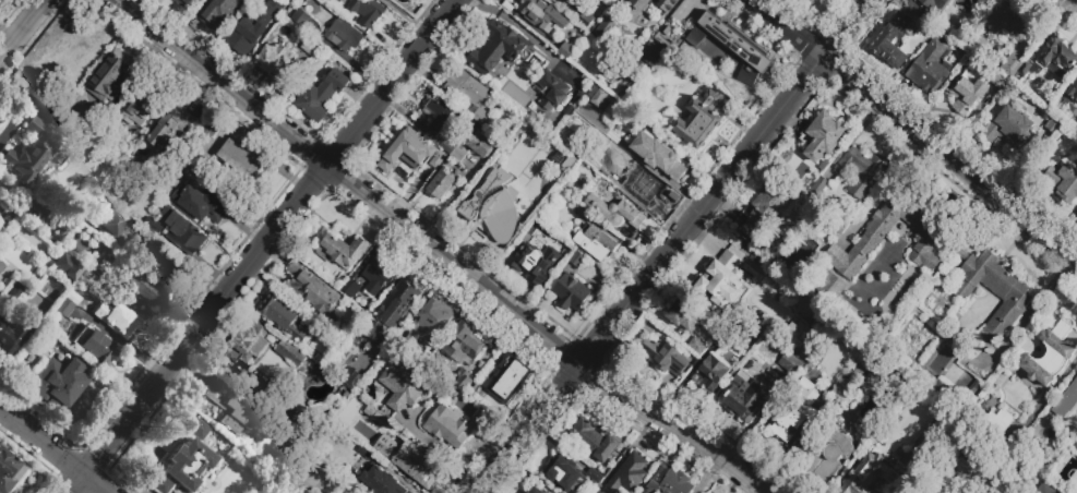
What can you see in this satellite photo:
building: (559, 0)
building: (816, 0)
building: (956, 0)
building: (302, 1)
building: (190, 2)
road: (1073, 2)
building: (977, 3)
building: (667, 4)
building: (934, 5)
building: (635, 7)
building: (366, 11)
building: (218, 13)
building: (542, 15)
building: (300, 16)
building: (585, 20)
building: (1009, 20)
building: (252, 28)
road: (785, 28)
road: (23, 29)
building: (605, 29)
building: (340, 33)
building: (898, 39)
building: (308, 46)
building: (496, 48)
building: (730, 48)
building: (567, 53)
building: (653, 57)
building: (276, 60)
building: (1051, 60)
building: (1010, 65)
building: (930, 67)
building: (682, 73)
building: (111, 75)
building: (1000, 84)
building: (554, 87)
building: (1073, 92)
building: (320, 94)
building: (470, 94)
building: (967, 94)
building: (145, 103)
building: (113, 108)
building: (438, 113)
building: (698, 121)
building: (60, 122)
building: (1008, 128)
building: (1055, 128)
building: (168, 129)
building: (822, 136)
building: (477, 142)
building: (454, 149)
building: (31, 151)
building: (410, 154)
building: (658, 155)
building: (238, 157)
road: (949, 158)
building: (155, 167)
building: (859, 171)
building: (629, 179)
building: (441, 184)
building: (1067, 184)
building: (818, 191)
building: (120, 192)
building: (589, 197)
road: (446, 201)
building: (202, 204)
building: (494, 205)
building: (766, 208)
building: (585, 215)
building: (618, 218)
building: (118, 224)
building: (840, 229)
building: (183, 231)
road: (1069, 239)
building: (596, 242)
road: (673, 245)
road: (262, 246)
building: (343, 252)
road: (439, 253)
building: (569, 253)
building: (937, 261)
building: (531, 262)
building: (578, 263)
building: (0, 265)
building: (104, 265)
building: (65, 266)
building: (158, 272)
building: (378, 275)
building: (350, 287)
building: (719, 287)
building: (88, 289)
building: (310, 290)
building: (765, 290)
building: (833, 290)
building: (145, 291)
building: (570, 292)
building: (17, 298)
building: (65, 302)
building: (393, 308)
building: (684, 315)
building: (284, 316)
building: (121, 317)
building: (354, 318)
building: (431, 320)
building: (318, 326)
building: (798, 332)
building: (11, 337)
building: (250, 340)
building: (723, 344)
building: (462, 345)
building: (93, 346)
building: (287, 352)
building: (1050, 354)
building: (332, 357)
building: (665, 359)
building: (789, 363)
building: (714, 372)
building: (501, 377)
building: (857, 380)
building: (57, 381)
building: (404, 384)
building: (874, 384)
building: (213, 388)
building: (749, 395)
building: (948, 395)
building: (1066, 400)
building: (890, 401)
building: (795, 412)
building: (237, 413)
building: (366, 420)
building: (997, 422)
building: (455, 425)
building: (199, 431)
building: (1076, 434)
building: (593, 440)
road: (40, 441)
building: (884, 444)
building: (139, 445)
building: (1073, 446)
building: (364, 453)
road: (441, 454)
building: (826, 456)
building: (188, 464)
building: (417, 466)
building: (9, 470)
building: (561, 473)
building: (629, 473)
road: (706, 474)
building: (866, 474)
building: (595, 476)
building: (158, 482)
building: (382, 482)
road: (95, 483)
building: (673, 484)
building: (298, 489)
building: (536, 490)
building: (350, 491)

